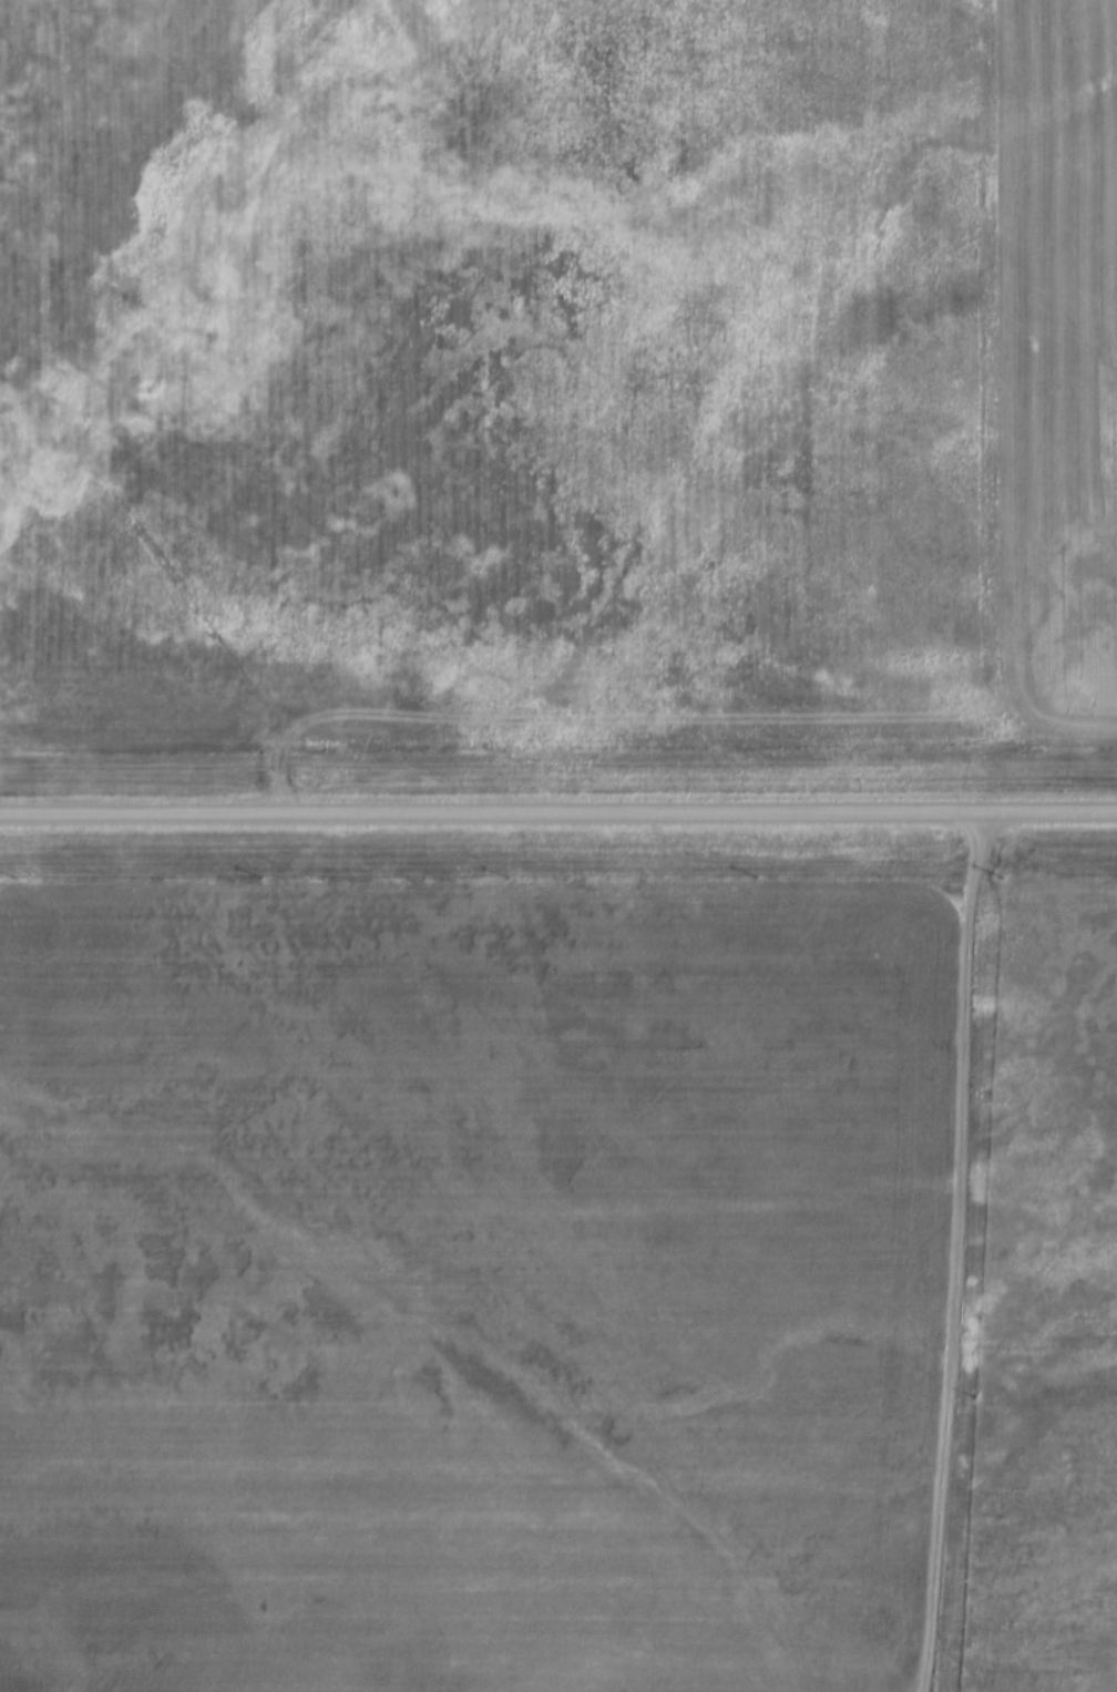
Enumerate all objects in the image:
road: (558, 818)
road: (957, 1253)

